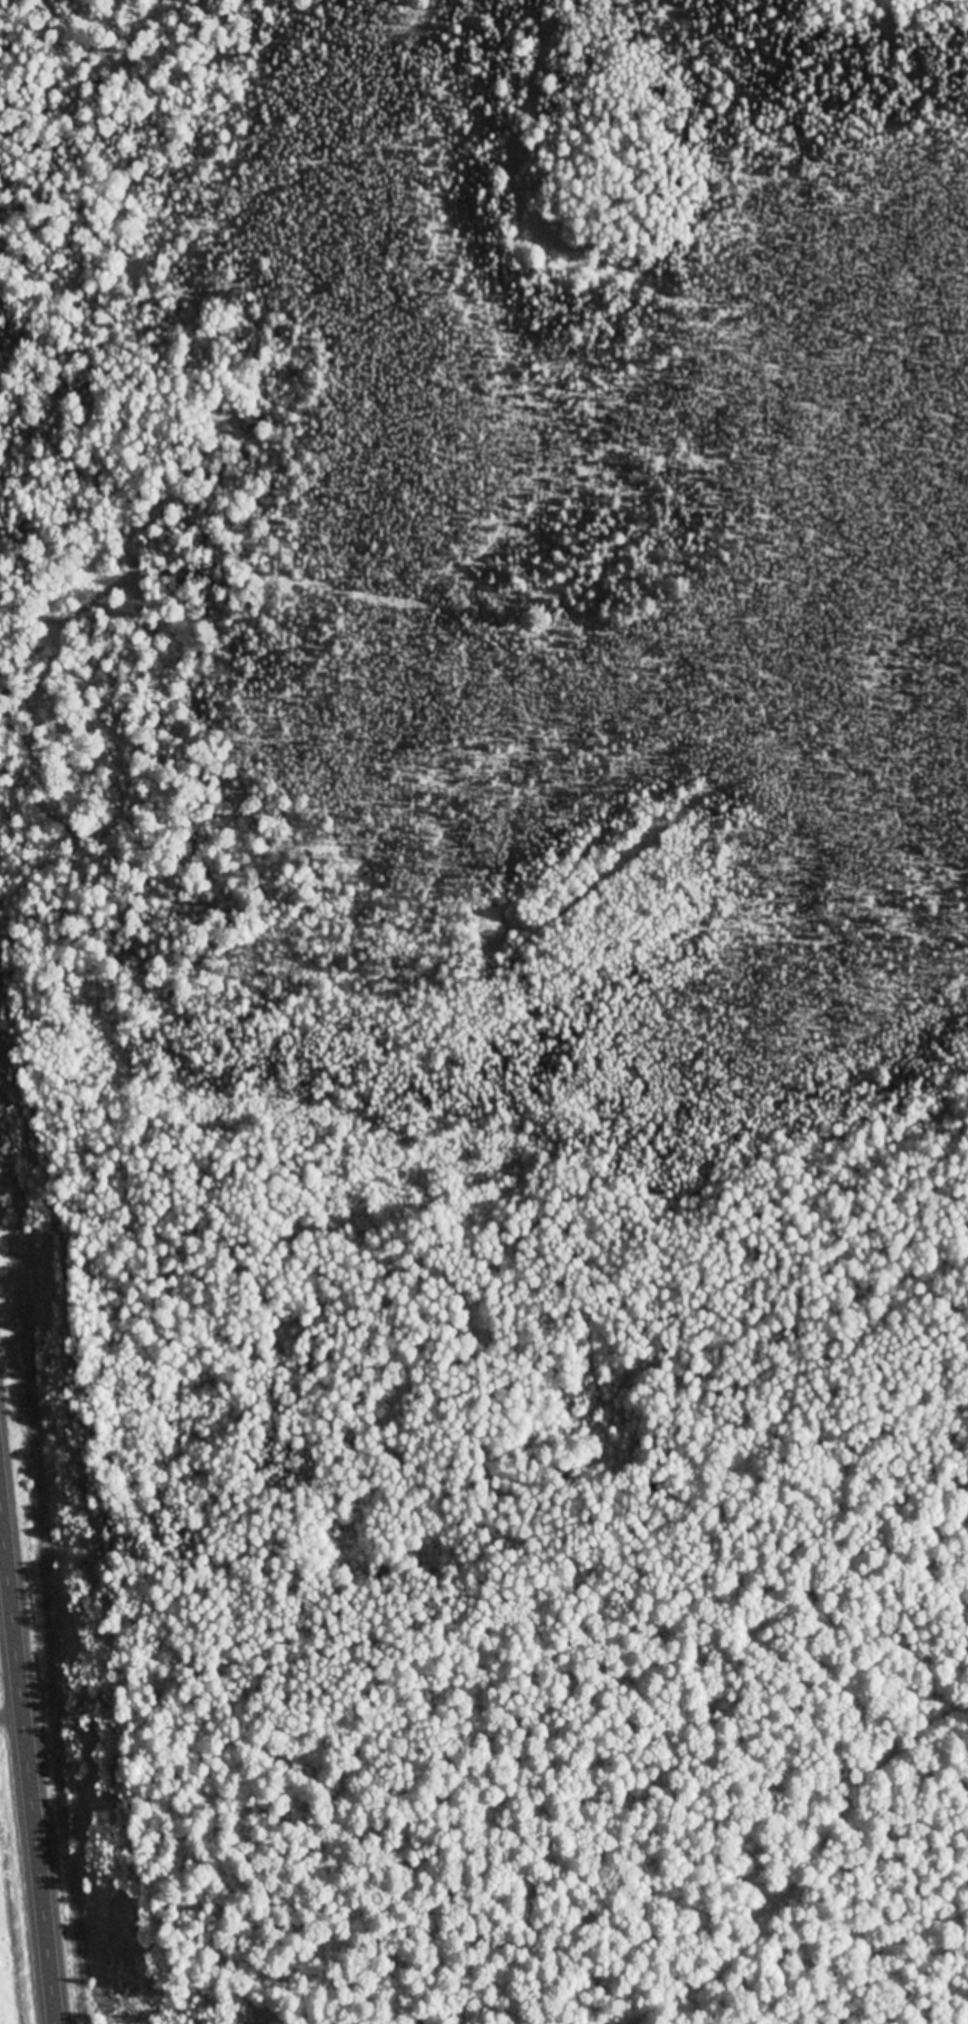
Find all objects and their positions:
road: (27, 1762)

